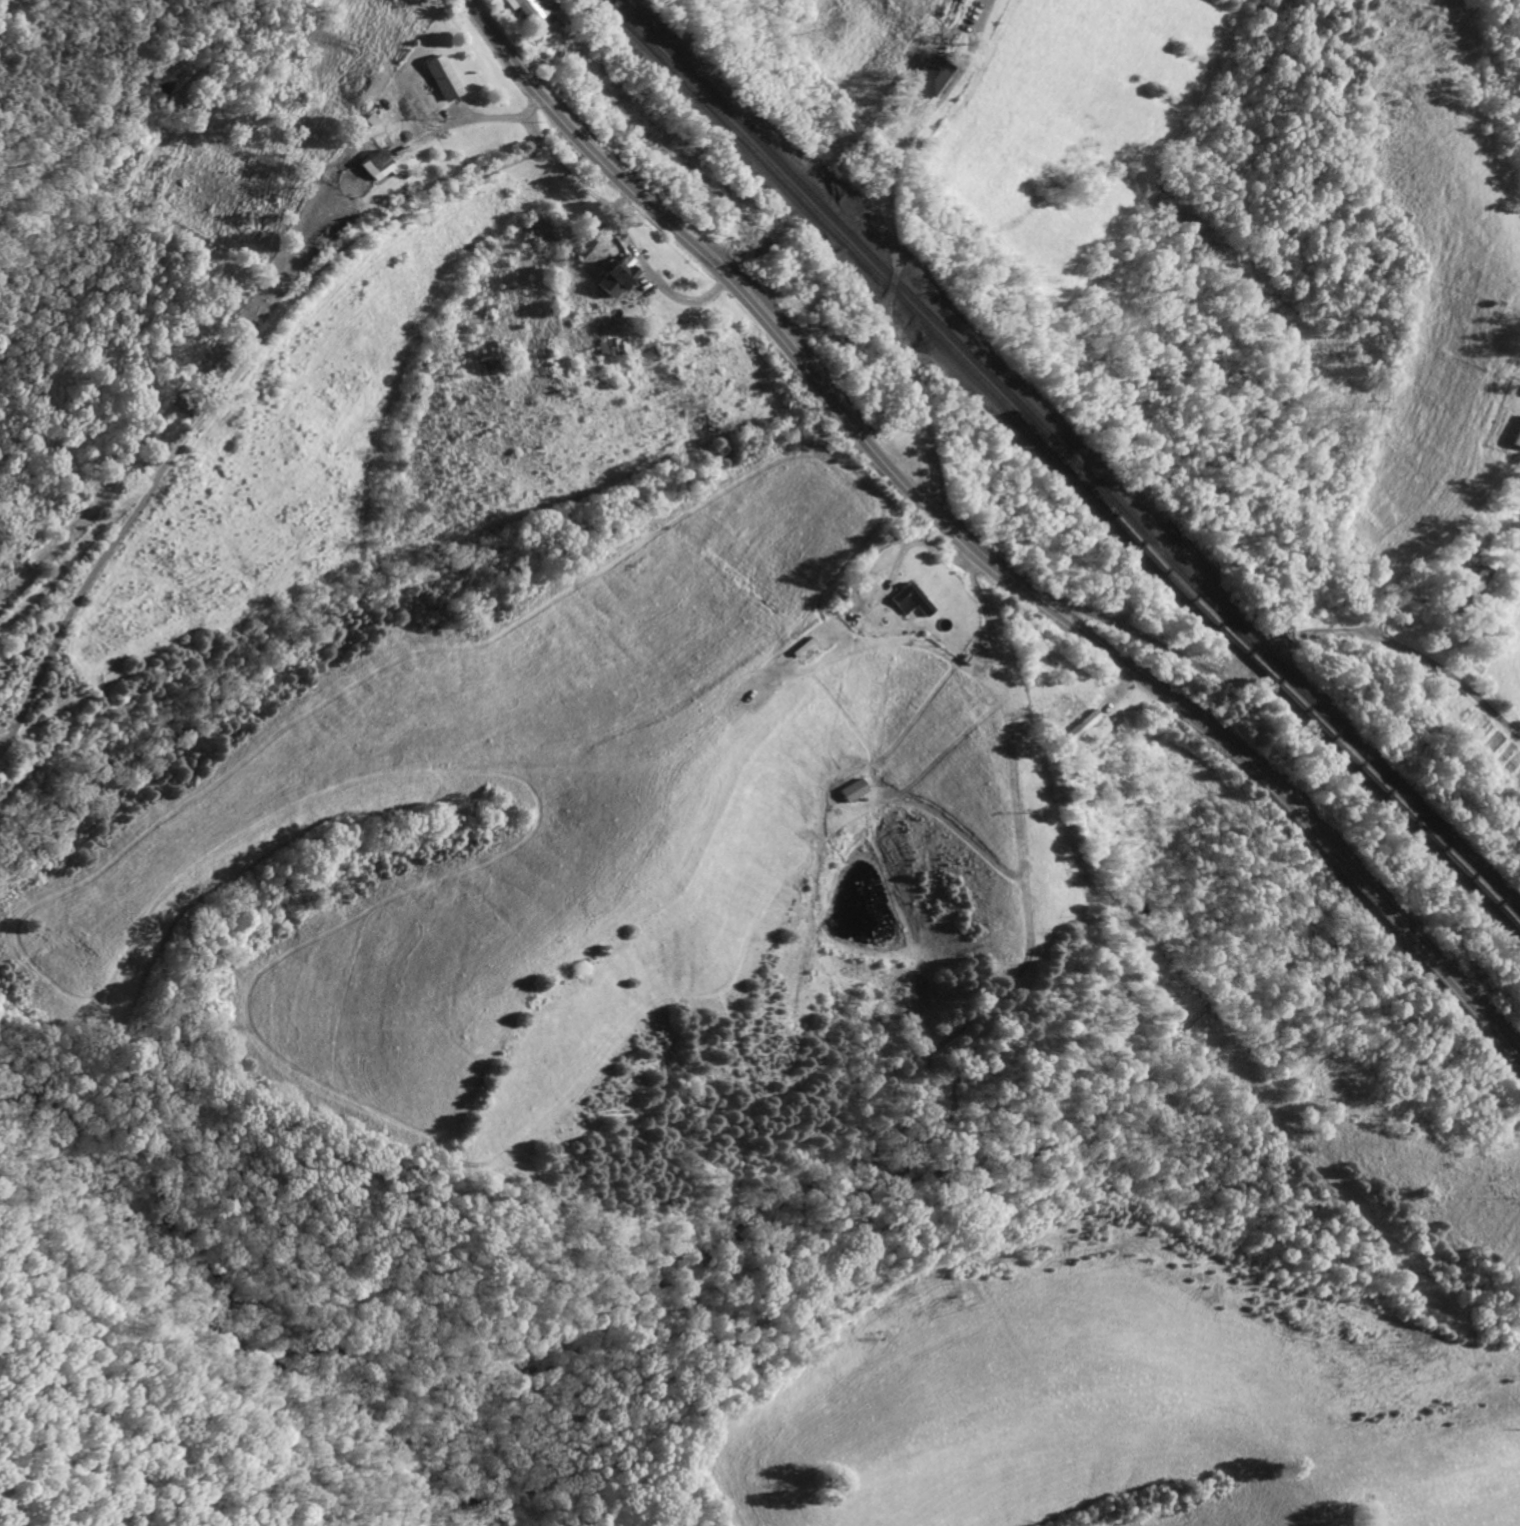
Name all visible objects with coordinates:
building: (523, 8)
building: (439, 77)
building: (924, 78)
road: (486, 117)
building: (373, 166)
road: (889, 261)
building: (605, 268)
road: (647, 273)
road: (233, 370)
building: (1516, 435)
railway: (1071, 457)
railway: (1065, 464)
road: (971, 550)
building: (1466, 586)
building: (907, 600)
road: (1127, 630)
road: (1415, 656)
road: (1256, 657)
building: (1078, 726)
building: (850, 789)

